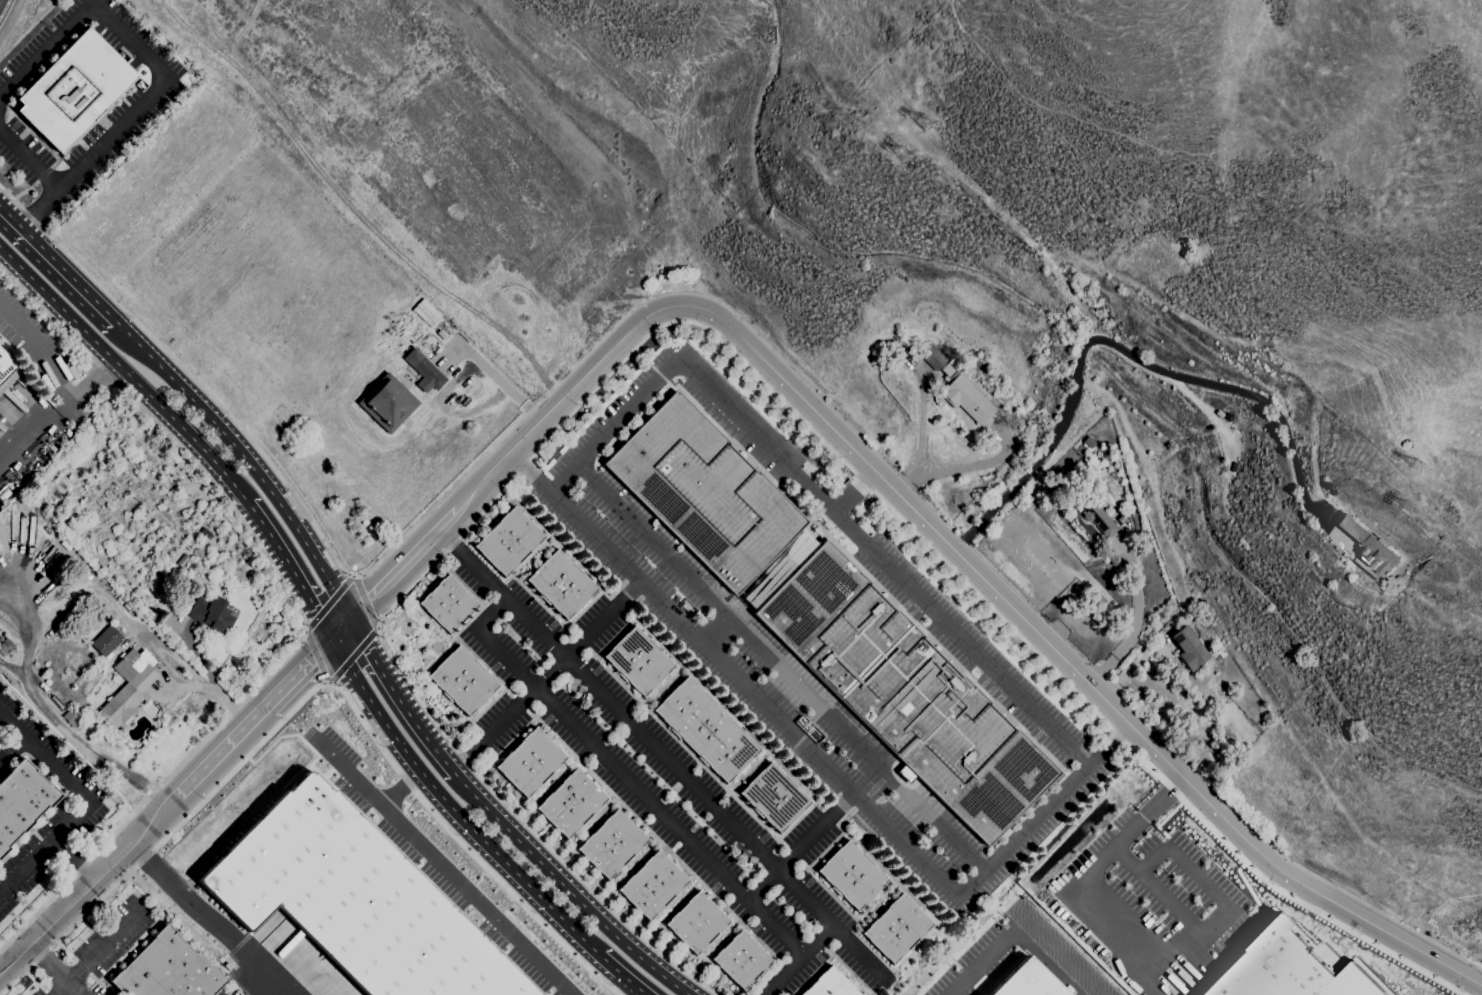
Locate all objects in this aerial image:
road: (92, 1)
road: (10, 18)
road: (136, 45)
building: (73, 90)
power tower: (925, 126)
power tower: (900, 153)
road: (30, 159)
road: (362, 197)
road: (41, 208)
road: (11, 214)
road: (58, 264)
building: (1074, 285)
building: (424, 312)
building: (1044, 339)
road: (726, 344)
road: (39, 351)
road: (1126, 353)
building: (933, 357)
road: (783, 359)
building: (7, 371)
building: (424, 371)
building: (947, 371)
road: (126, 372)
road: (495, 377)
building: (967, 399)
building: (1098, 401)
building: (388, 403)
road: (57, 415)
building: (1089, 441)
road: (917, 444)
road: (247, 460)
road: (971, 463)
building: (105, 466)
power tower: (1418, 467)
building: (704, 492)
road: (856, 493)
road: (819, 499)
power tower: (1412, 505)
building: (1094, 509)
road: (307, 518)
building: (1122, 519)
storage tank: (364, 521)
storage tank: (370, 528)
building: (206, 533)
building: (201, 535)
building: (508, 542)
building: (797, 547)
building: (1369, 547)
road: (957, 553)
road: (404, 565)
road: (291, 569)
building: (170, 573)
building: (561, 584)
road: (366, 601)
building: (1201, 601)
building: (448, 604)
building: (1094, 605)
road: (299, 612)
building: (211, 614)
road: (1134, 620)
road: (341, 629)
road: (716, 630)
road: (27, 632)
building: (106, 641)
building: (5, 646)
building: (1189, 647)
road: (195, 653)
road: (174, 657)
building: (638, 660)
road: (1133, 661)
road: (783, 668)
road: (11, 671)
road: (298, 672)
road: (547, 678)
building: (462, 680)
parking lot: (766, 684)
building: (129, 686)
road: (210, 687)
road: (316, 687)
building: (905, 692)
road: (399, 698)
road: (610, 700)
building: (73, 720)
building: (131, 724)
building: (707, 729)
building: (1184, 736)
road: (88, 747)
road: (221, 750)
road: (12, 751)
road: (44, 758)
road: (821, 761)
building: (530, 762)
road: (624, 778)
parking lot: (658, 779)
road: (401, 787)
building: (773, 797)
building: (21, 800)
building: (570, 803)
road: (452, 807)
road: (818, 834)
building: (611, 843)
road: (45, 848)
road: (74, 858)
road: (1125, 858)
road: (444, 867)
building: (851, 875)
road: (1197, 877)
road: (1089, 882)
road: (88, 883)
building: (652, 885)
road: (764, 887)
road: (568, 888)
road: (806, 898)
building: (354, 900)
road: (1165, 900)
road: (208, 918)
building: (696, 922)
road: (1015, 926)
building: (896, 928)
road: (859, 951)
road: (97, 954)
road: (799, 958)
building: (741, 960)
building: (1282, 968)
building: (167, 969)
road: (53, 970)
road: (620, 975)
road: (1148, 975)
building: (1025, 981)
building: (830, 985)

